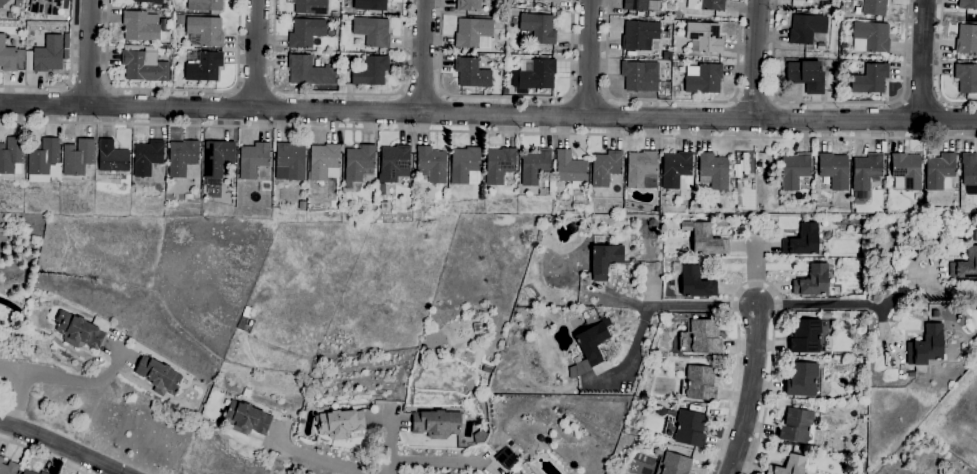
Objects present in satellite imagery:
building: (489, 0)
building: (812, 0)
building: (825, 0)
building: (149, 1)
building: (547, 1)
building: (3, 3)
building: (967, 4)
building: (370, 5)
building: (468, 5)
building: (641, 5)
building: (706, 5)
building: (205, 6)
building: (44, 7)
building: (311, 7)
building: (873, 7)
building: (334, 14)
building: (11, 16)
building: (336, 21)
building: (140, 26)
building: (538, 28)
building: (806, 28)
building: (205, 31)
building: (306, 32)
building: (372, 32)
building: (473, 33)
building: (639, 34)
building: (872, 36)
building: (704, 38)
building: (966, 40)
road: (89, 53)
building: (48, 55)
road: (256, 55)
road: (422, 56)
building: (10, 57)
road: (588, 58)
road: (922, 59)
road: (756, 60)
building: (28, 61)
building: (674, 64)
building: (144, 66)
building: (202, 66)
road: (939, 67)
building: (308, 71)
building: (370, 72)
building: (471, 73)
road: (70, 75)
building: (537, 75)
building: (806, 76)
building: (966, 78)
building: (641, 79)
building: (702, 79)
building: (870, 79)
road: (69, 85)
road: (106, 87)
road: (88, 88)
road: (172, 90)
road: (234, 91)
road: (274, 91)
road: (254, 93)
road: (401, 93)
road: (338, 94)
road: (440, 94)
road: (420, 96)
road: (584, 96)
road: (506, 98)
road: (921, 99)
road: (755, 100)
road: (671, 102)
road: (837, 103)
road: (488, 115)
road: (488, 132)
building: (11, 156)
building: (78, 157)
building: (111, 157)
building: (146, 158)
building: (182, 158)
building: (218, 158)
building: (252, 160)
building: (43, 161)
building: (323, 161)
building: (290, 162)
building: (359, 164)
building: (431, 164)
building: (463, 164)
building: (395, 165)
building: (499, 165)
building: (535, 166)
building: (605, 168)
building: (640, 168)
building: (675, 169)
building: (570, 170)
building: (714, 170)
building: (794, 170)
building: (969, 170)
building: (834, 171)
building: (866, 171)
building: (906, 172)
building: (939, 172)
building: (381, 189)
building: (745, 194)
building: (656, 210)
building: (652, 224)
building: (975, 236)
building: (706, 241)
building: (802, 241)
building: (603, 260)
building: (965, 265)
road: (755, 274)
building: (693, 282)
road: (755, 282)
building: (813, 282)
road: (925, 284)
road: (633, 302)
road: (818, 304)
road: (702, 305)
building: (592, 312)
building: (248, 315)
building: (674, 317)
building: (239, 327)
building: (81, 331)
building: (702, 337)
building: (806, 337)
road: (639, 338)
building: (926, 346)
building: (423, 347)
building: (588, 349)
building: (486, 370)
building: (911, 374)
building: (158, 376)
road: (67, 380)
building: (802, 380)
building: (699, 384)
road: (749, 390)
road: (14, 398)
building: (661, 412)
building: (246, 419)
building: (341, 423)
building: (436, 424)
building: (799, 428)
building: (687, 429)
building: (540, 439)
road: (388, 441)
road: (60, 447)
road: (40, 456)
building: (506, 459)
road: (326, 460)
road: (440, 462)
building: (674, 464)
building: (789, 466)
building: (8, 467)
building: (27, 472)
building: (40, 473)
building: (42, 473)
building: (509, 473)

